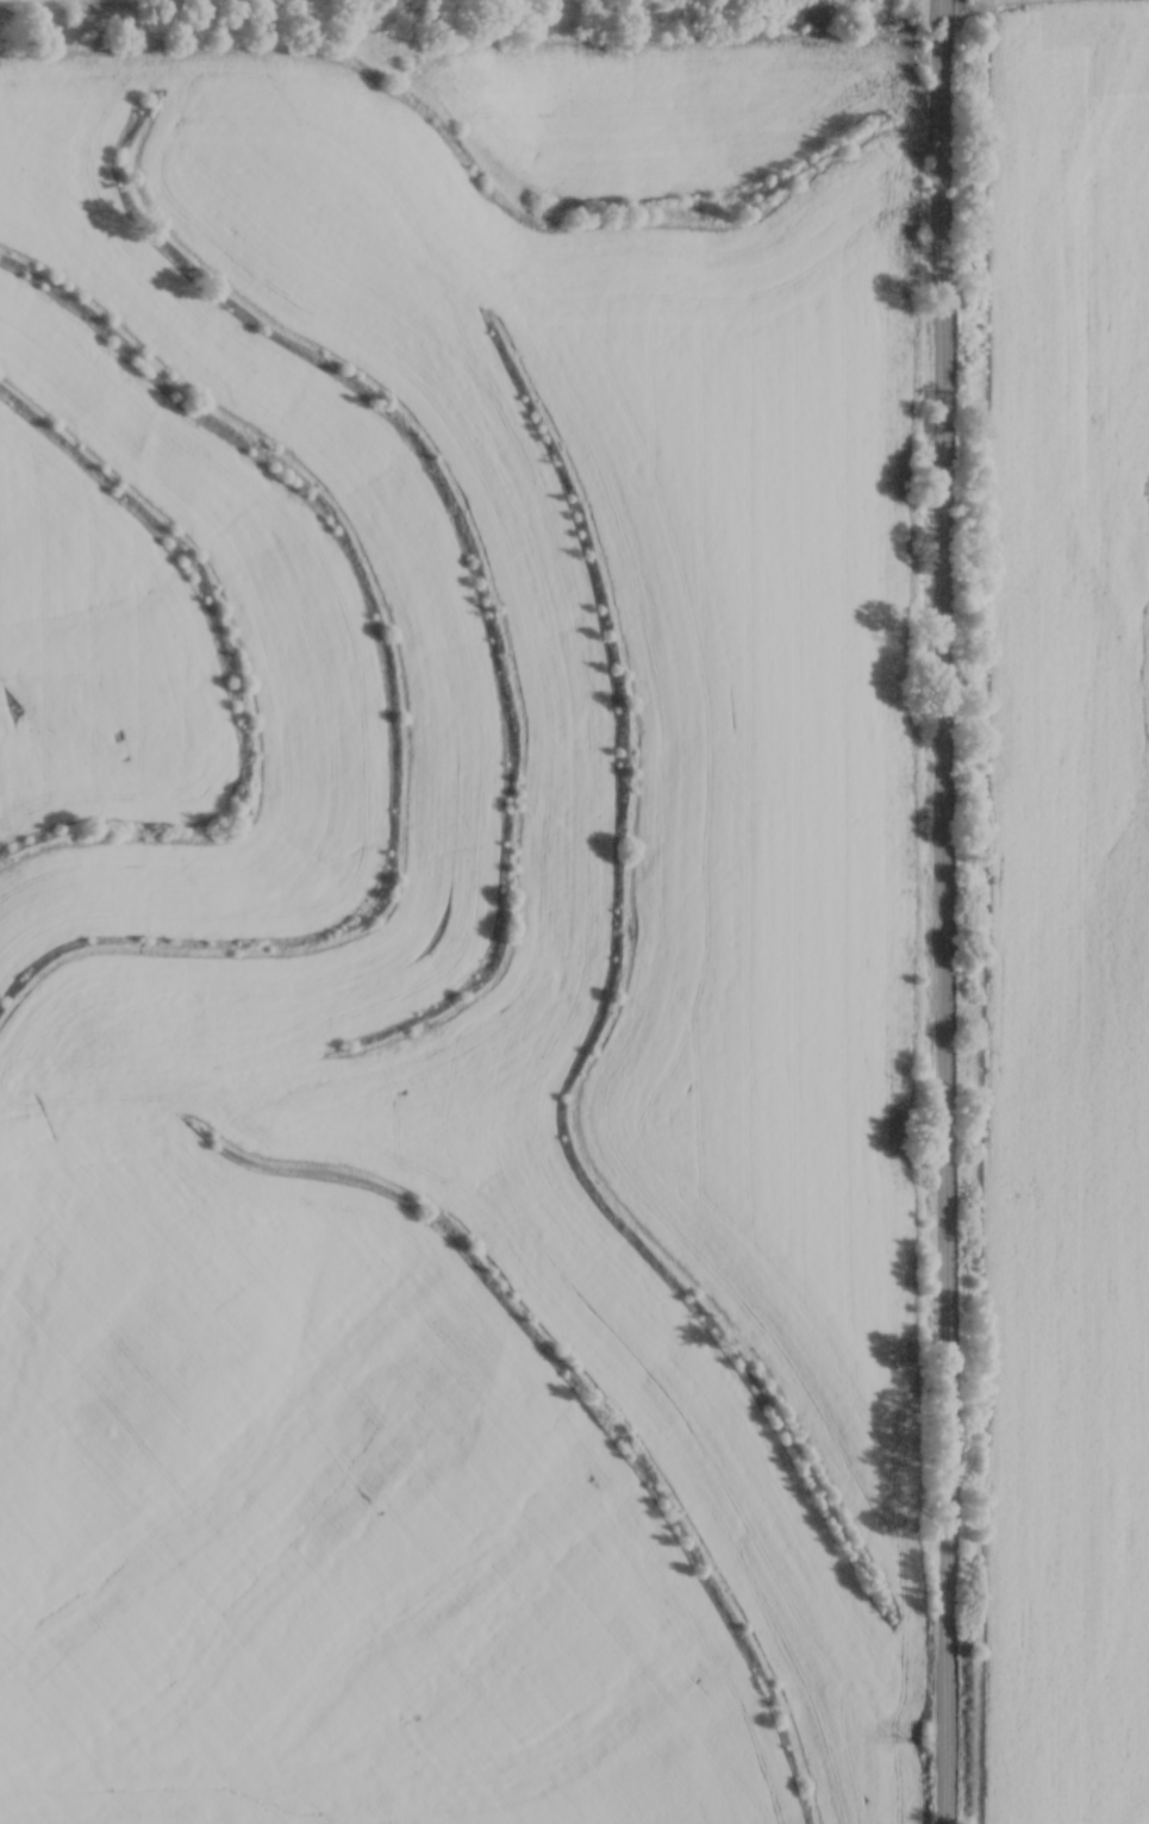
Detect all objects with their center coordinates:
road: (945, 912)

